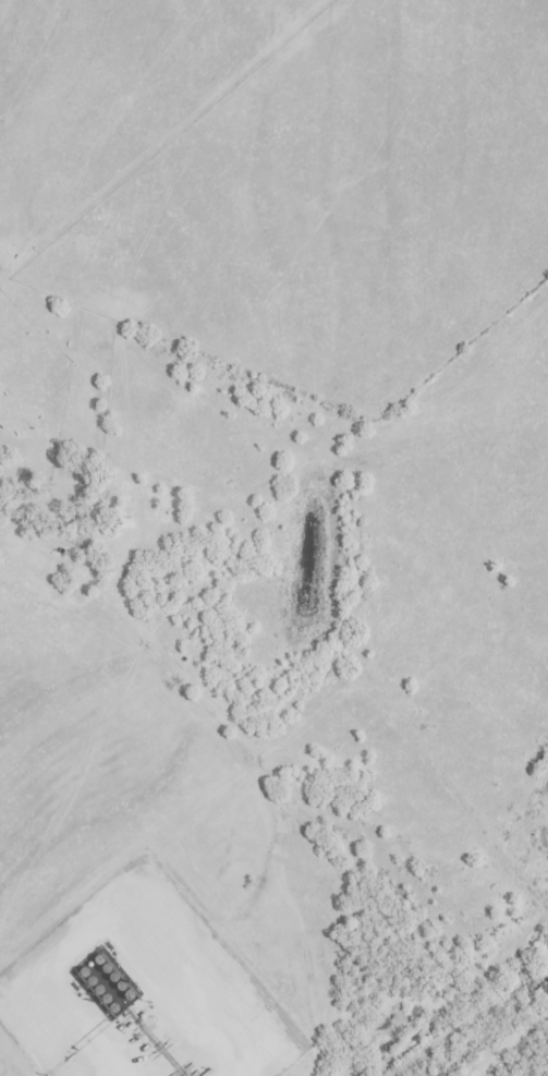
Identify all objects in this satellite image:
road: (56, 970)

